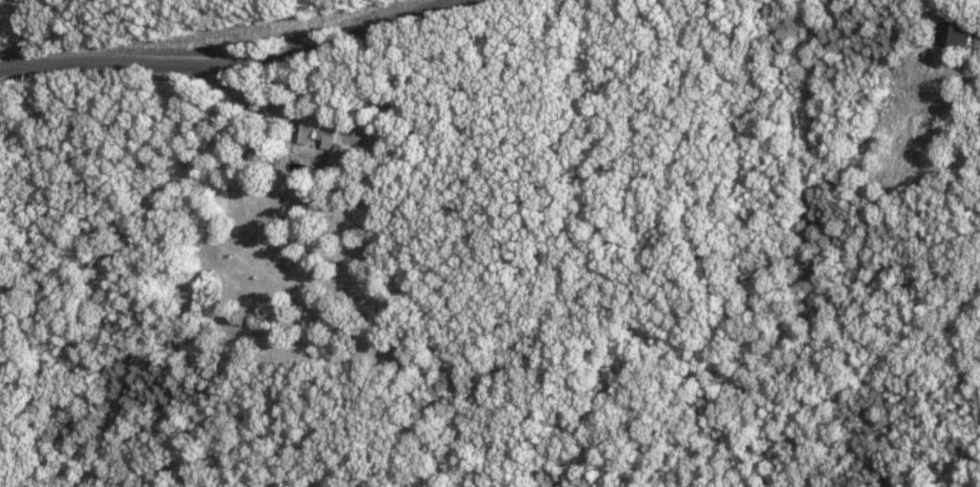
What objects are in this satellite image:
road: (235, 64)
building: (330, 139)

